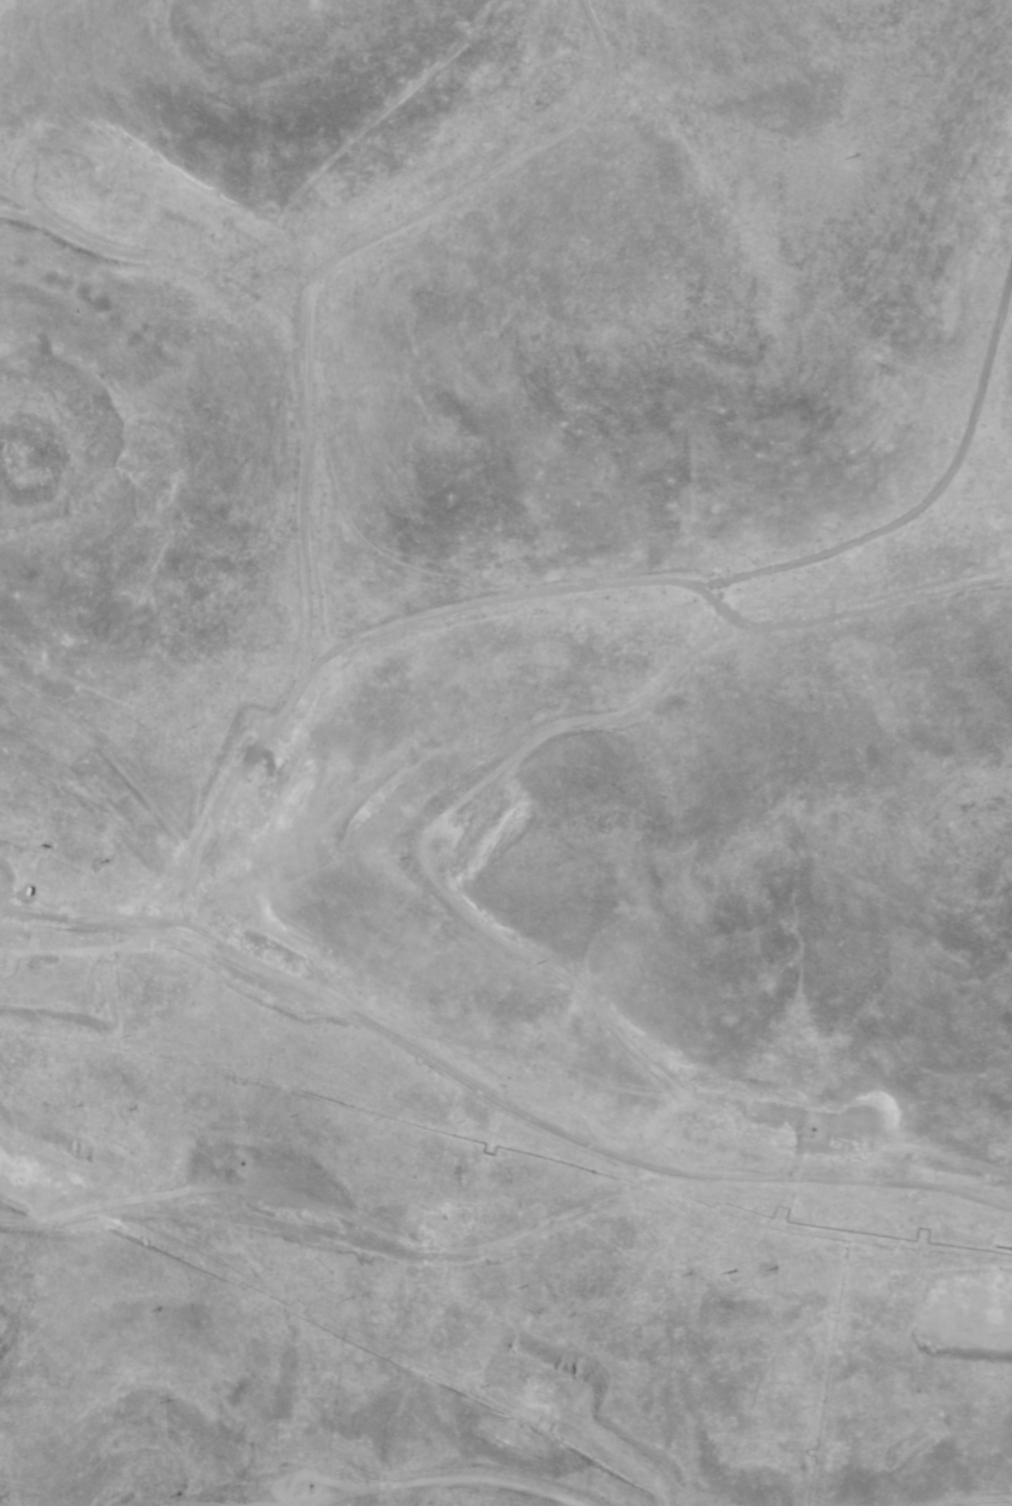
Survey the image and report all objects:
road: (440, 885)
road: (10, 991)
road: (254, 1101)
road: (770, 1206)
road: (36, 1281)
road: (242, 1310)

